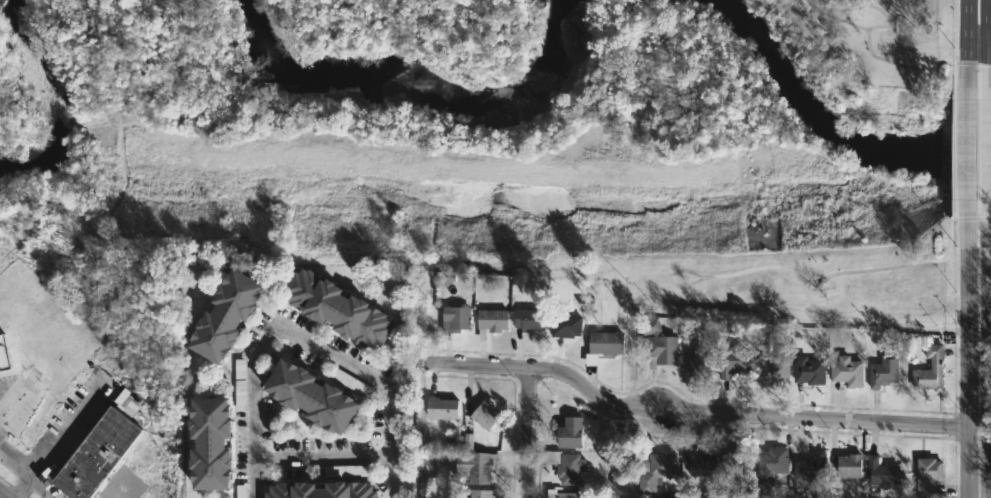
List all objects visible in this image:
road: (986, 23)
road: (975, 46)
road: (988, 47)
road: (965, 49)
road: (876, 58)
road: (986, 73)
river: (416, 81)
river: (829, 129)
road: (964, 147)
road: (986, 148)
road: (977, 230)
building: (335, 308)
building: (228, 317)
building: (454, 317)
building: (491, 321)
building: (529, 321)
building: (568, 327)
road: (300, 339)
building: (603, 347)
road: (964, 347)
road: (986, 347)
building: (658, 351)
building: (5, 354)
building: (698, 364)
building: (734, 365)
building: (772, 368)
building: (808, 370)
building: (846, 370)
building: (883, 370)
building: (929, 370)
building: (306, 394)
building: (444, 409)
building: (0, 412)
gas station: (0, 412)
building: (1, 414)
building: (484, 414)
road: (703, 415)
road: (527, 433)
building: (572, 434)
road: (54, 445)
building: (210, 446)
building: (92, 454)
road: (322, 457)
building: (735, 458)
building: (770, 459)
building: (698, 460)
building: (567, 465)
building: (847, 465)
building: (808, 467)
building: (479, 468)
building: (655, 472)
building: (880, 472)
road: (25, 473)
building: (927, 474)
road: (38, 488)
building: (319, 490)
building: (483, 493)
building: (571, 495)
road: (0, 497)

